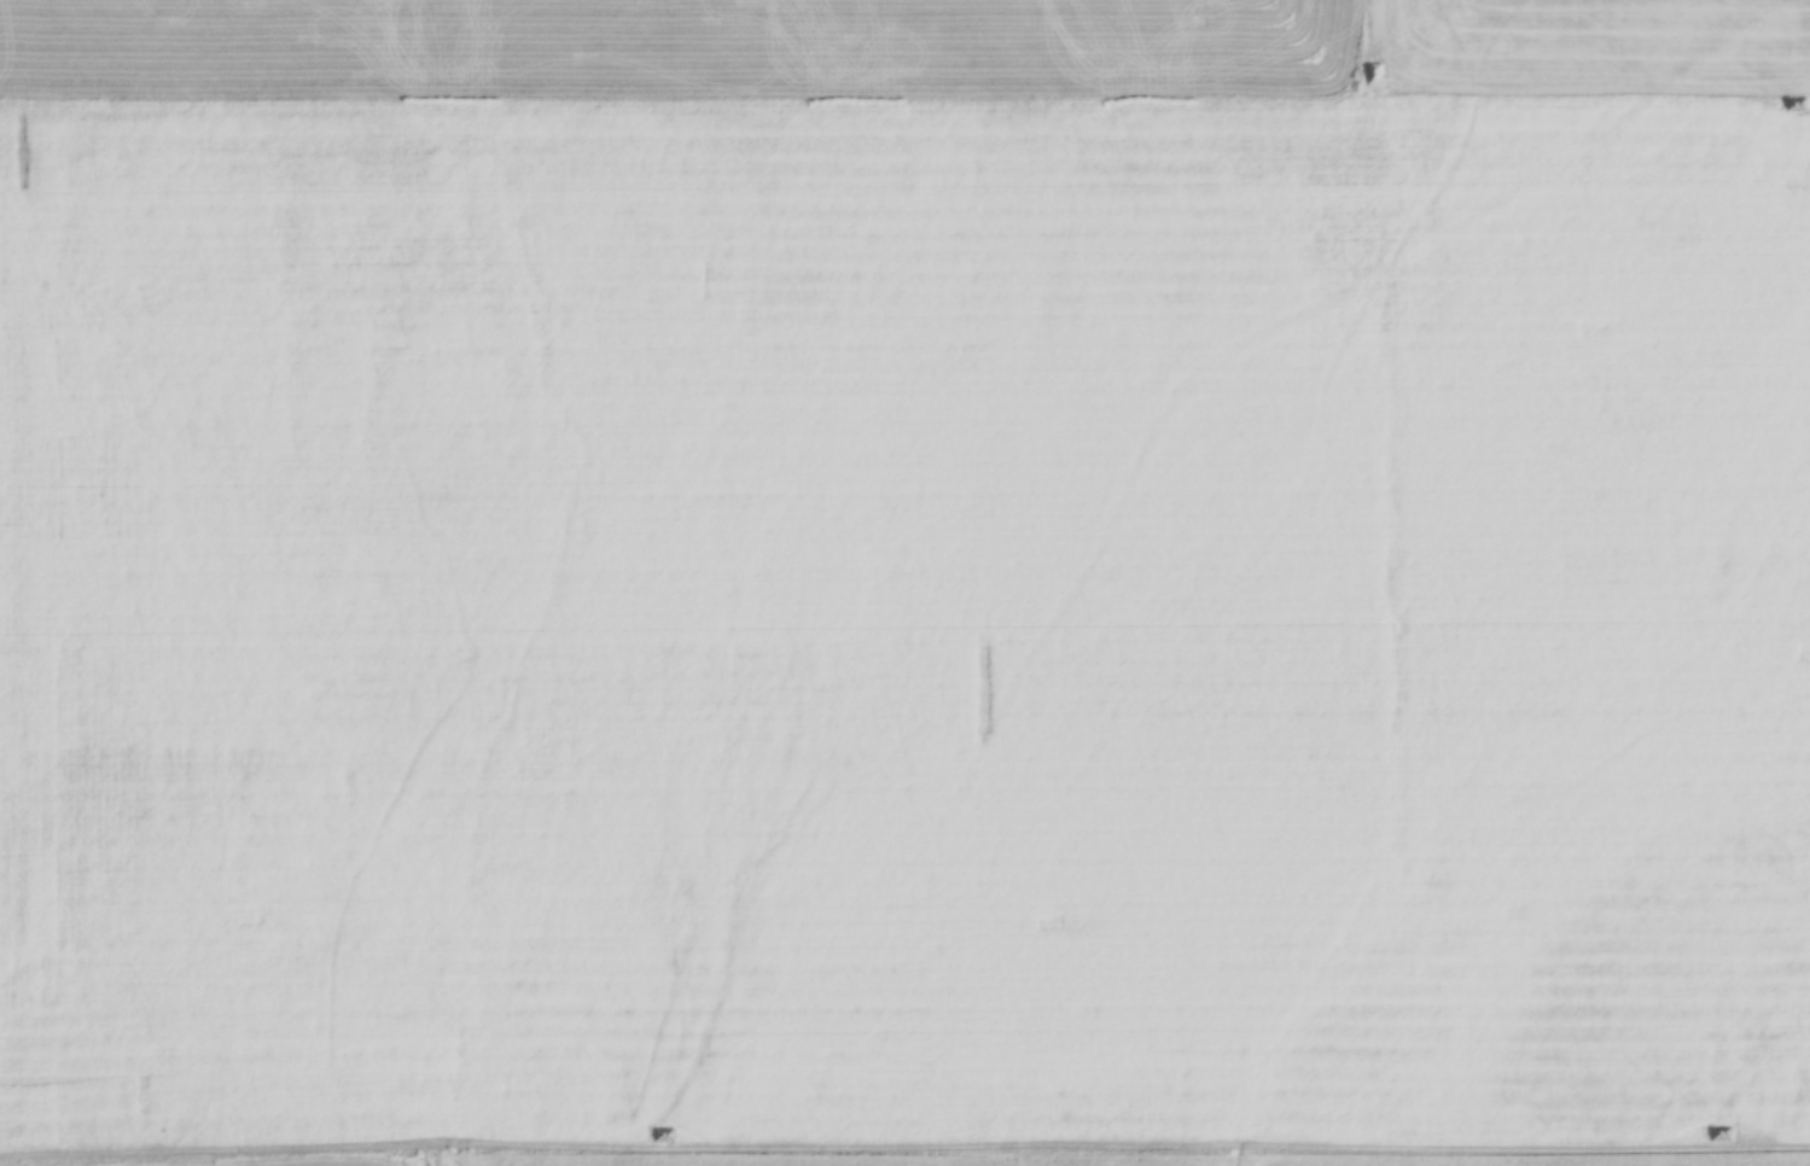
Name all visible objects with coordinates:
building: (257, 932)

